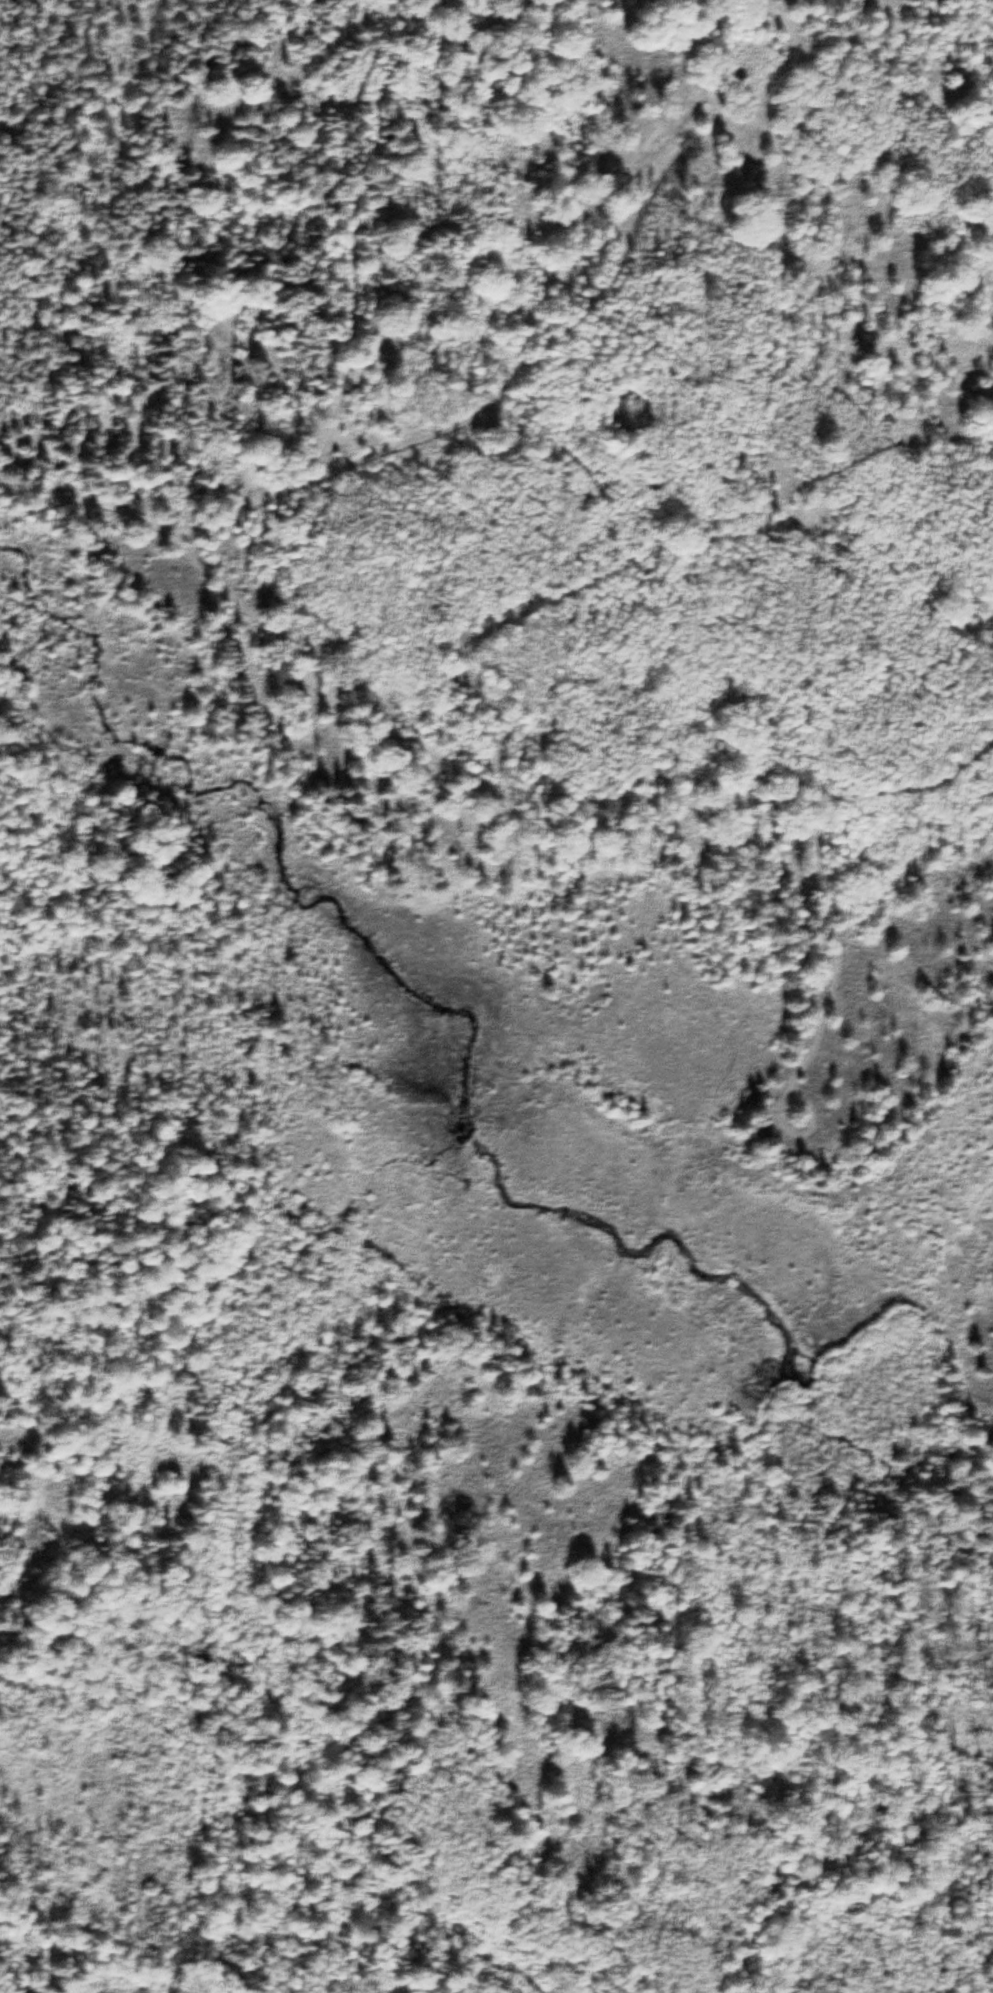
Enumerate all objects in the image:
road: (598, 272)
road: (337, 392)
road: (988, 1525)
park: (566, 1587)
road: (858, 1760)

